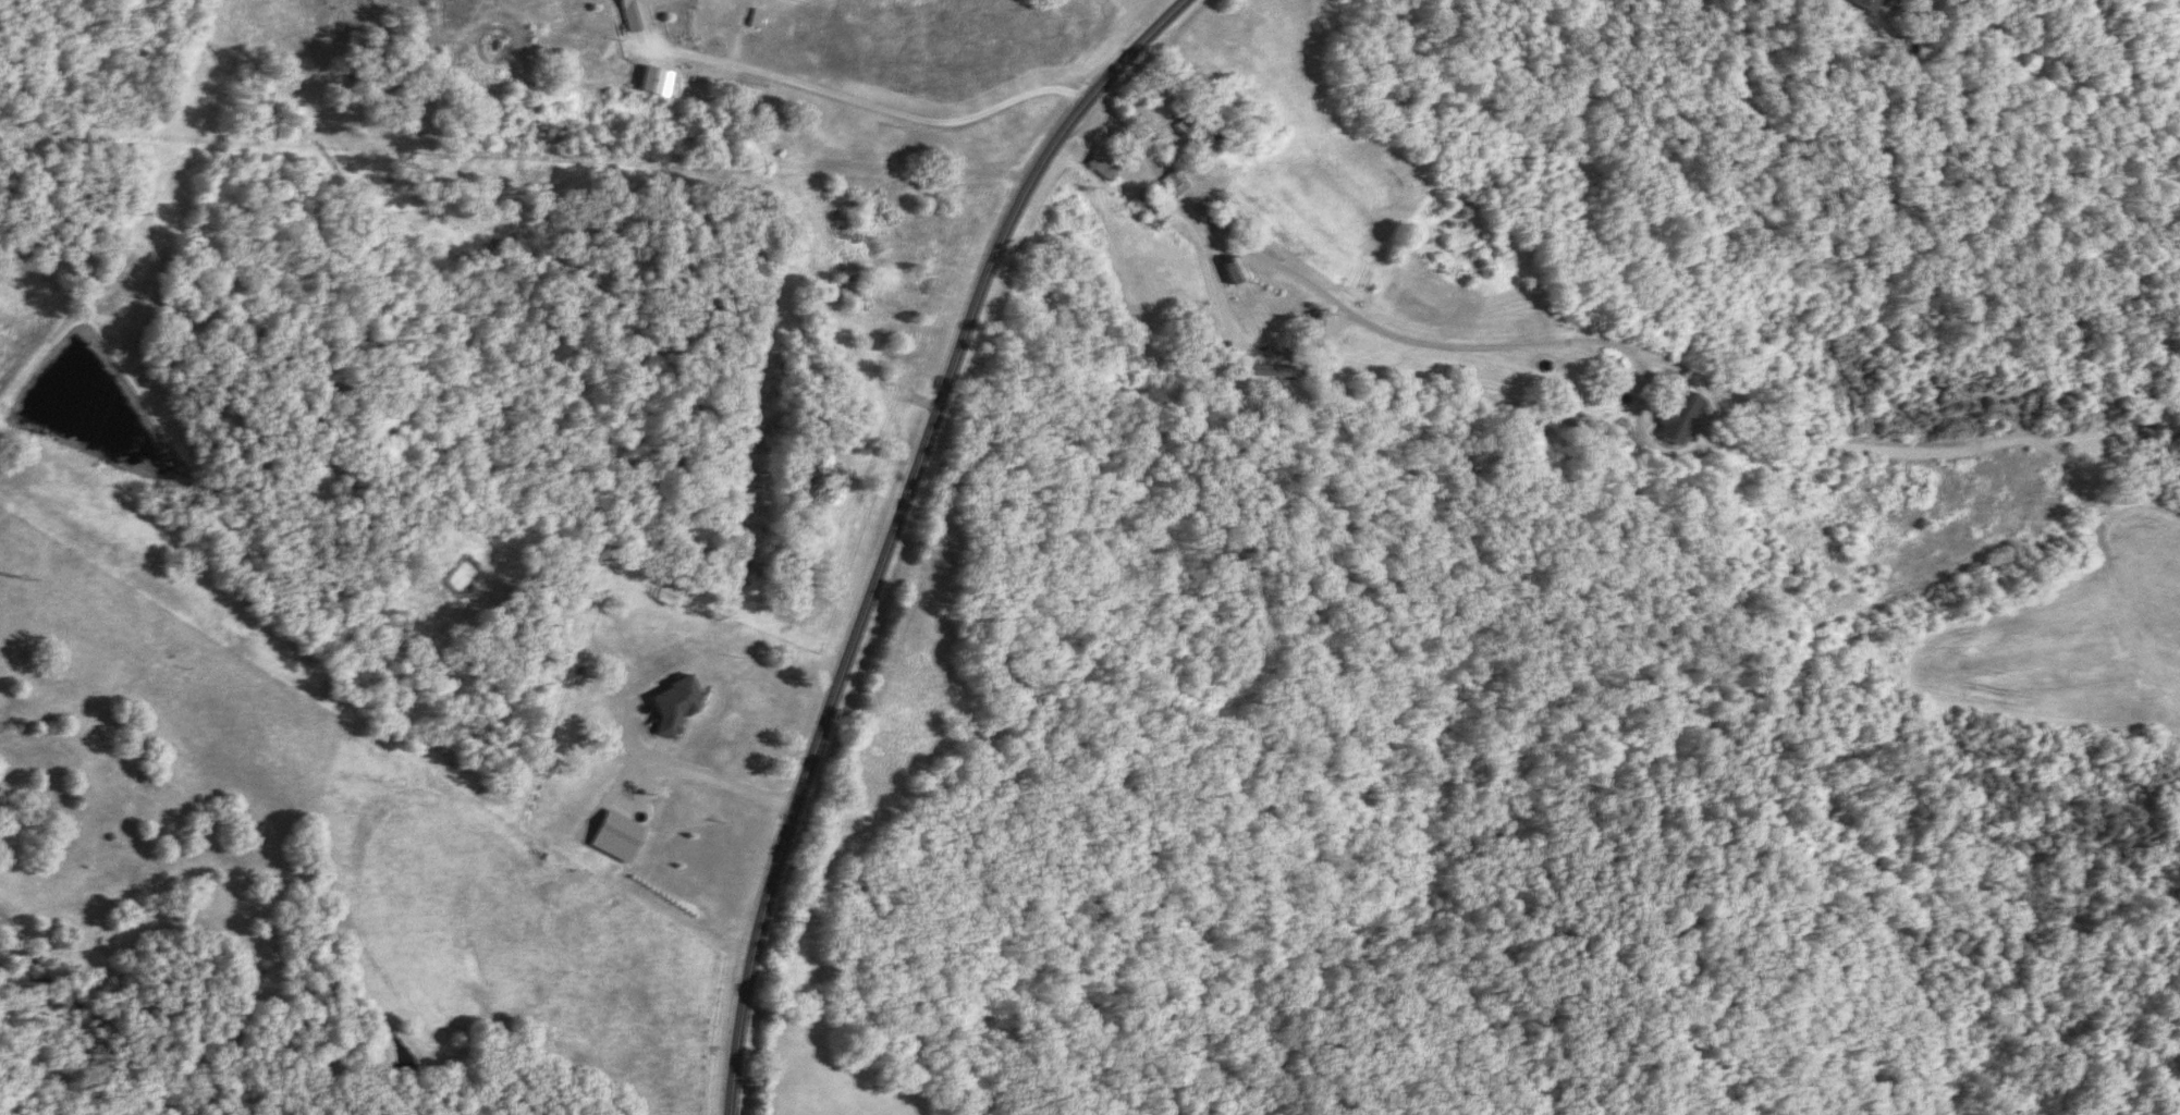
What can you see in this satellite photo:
building: (1864, 4)
building: (635, 13)
road: (867, 103)
building: (1195, 130)
building: (1106, 162)
building: (1175, 183)
power tower: (156, 222)
building: (1234, 272)
building: (1315, 324)
road: (1457, 345)
road: (1238, 346)
building: (1254, 370)
building: (1676, 418)
road: (891, 530)
power tower: (22, 577)
road: (714, 780)

